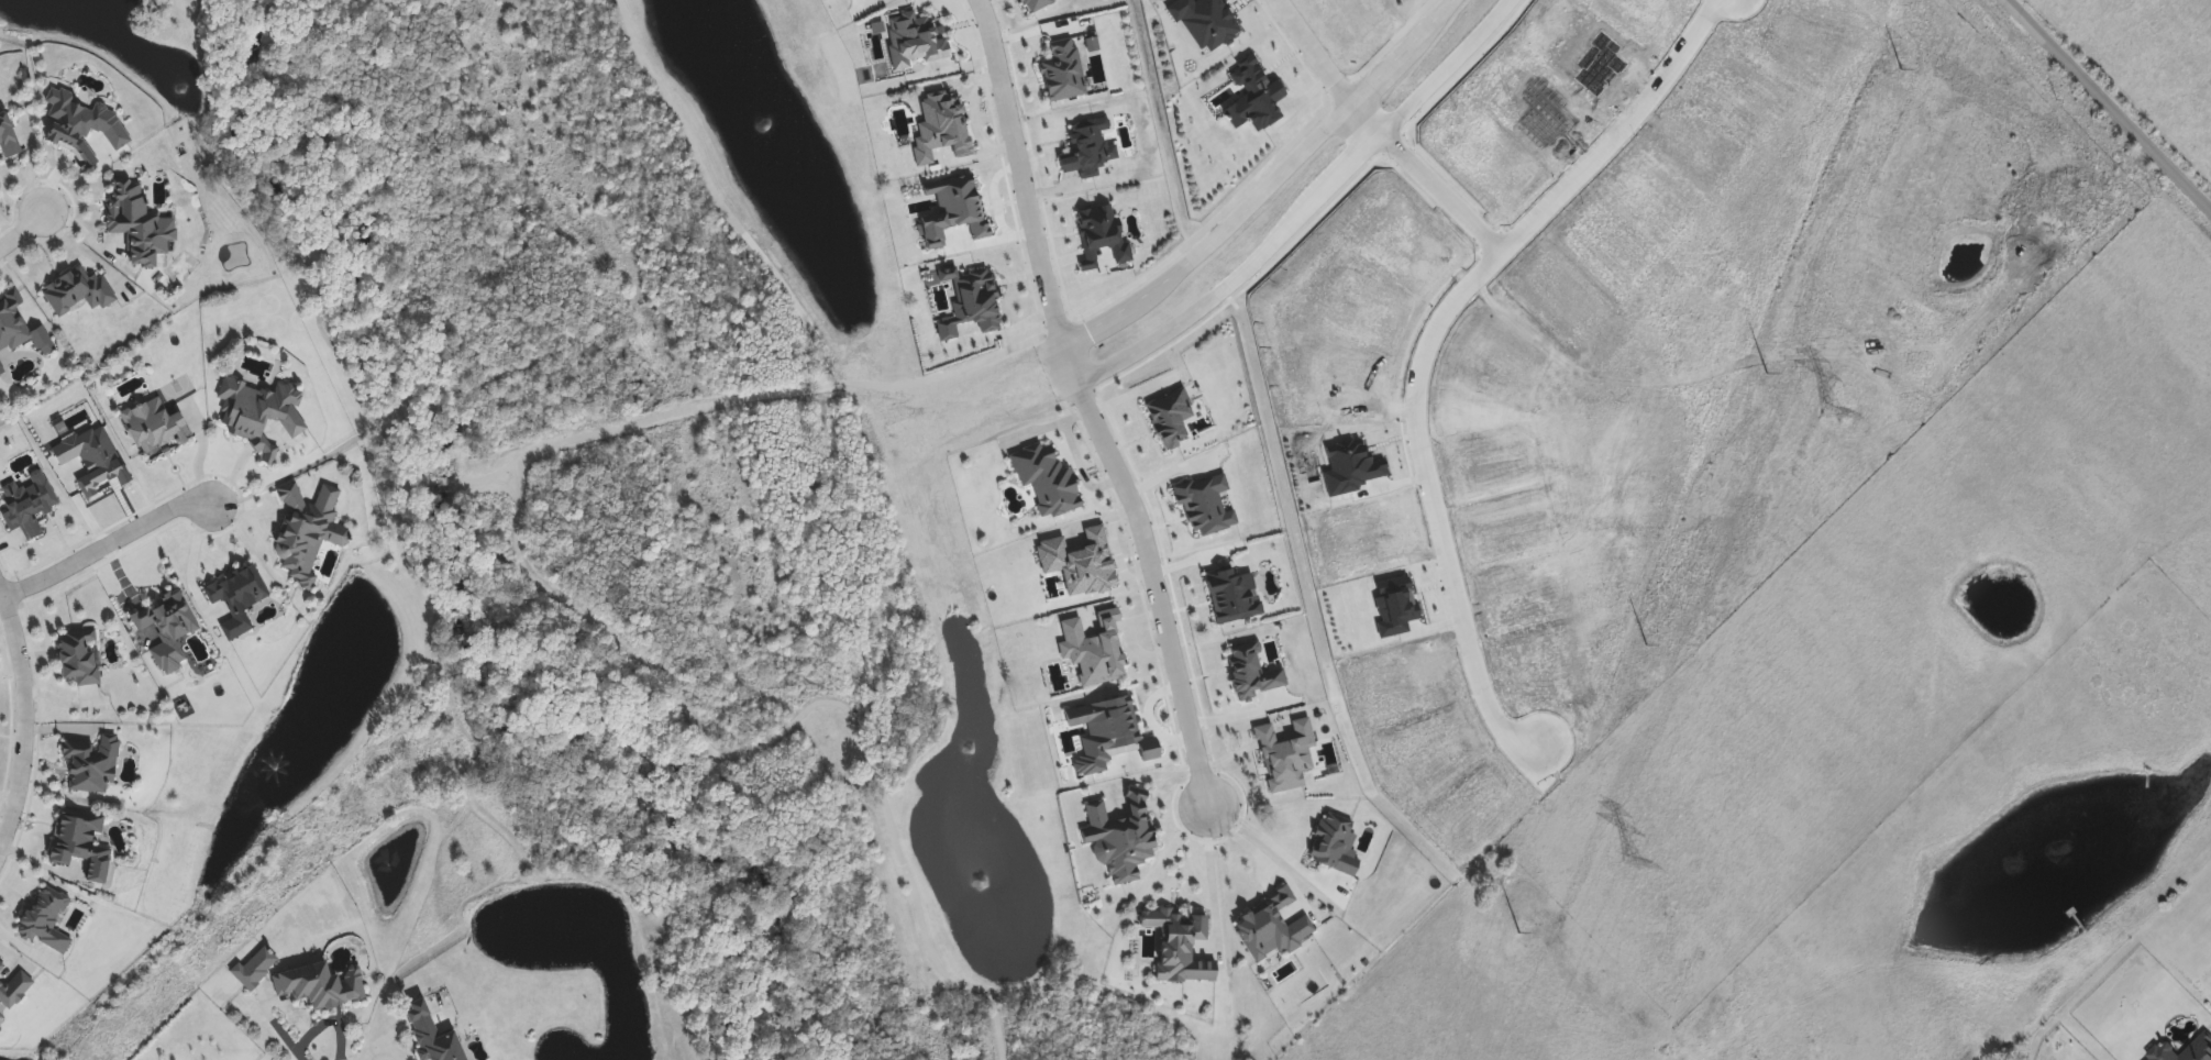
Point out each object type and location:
road: (1316, 49)
fountain: (169, 67)
road: (1446, 68)
power tower: (1900, 79)
road: (2109, 104)
building: (84, 128)
fountain: (766, 128)
building: (8, 135)
road: (26, 165)
road: (1267, 184)
road: (1558, 191)
building: (140, 222)
road: (21, 234)
road: (88, 238)
road: (81, 251)
road: (1253, 254)
building: (78, 291)
building: (20, 330)
power tower: (1766, 384)
road: (1088, 402)
building: (261, 408)
power tower: (1827, 412)
building: (156, 427)
road: (1428, 493)
road: (106, 546)
building: (1518, 554)
power tower: (1646, 654)
building: (79, 658)
fountain: (332, 698)
road: (1241, 711)
road: (23, 714)
fountain: (973, 746)
building: (92, 765)
building: (84, 842)
road: (1269, 852)
road: (1249, 855)
power tower: (1627, 864)
road: (1202, 871)
fountain: (979, 875)
power tower: (1518, 942)
building: (321, 986)
road: (278, 1030)
building: (435, 1033)
building: (2198, 1045)
building: (1672, 1049)

